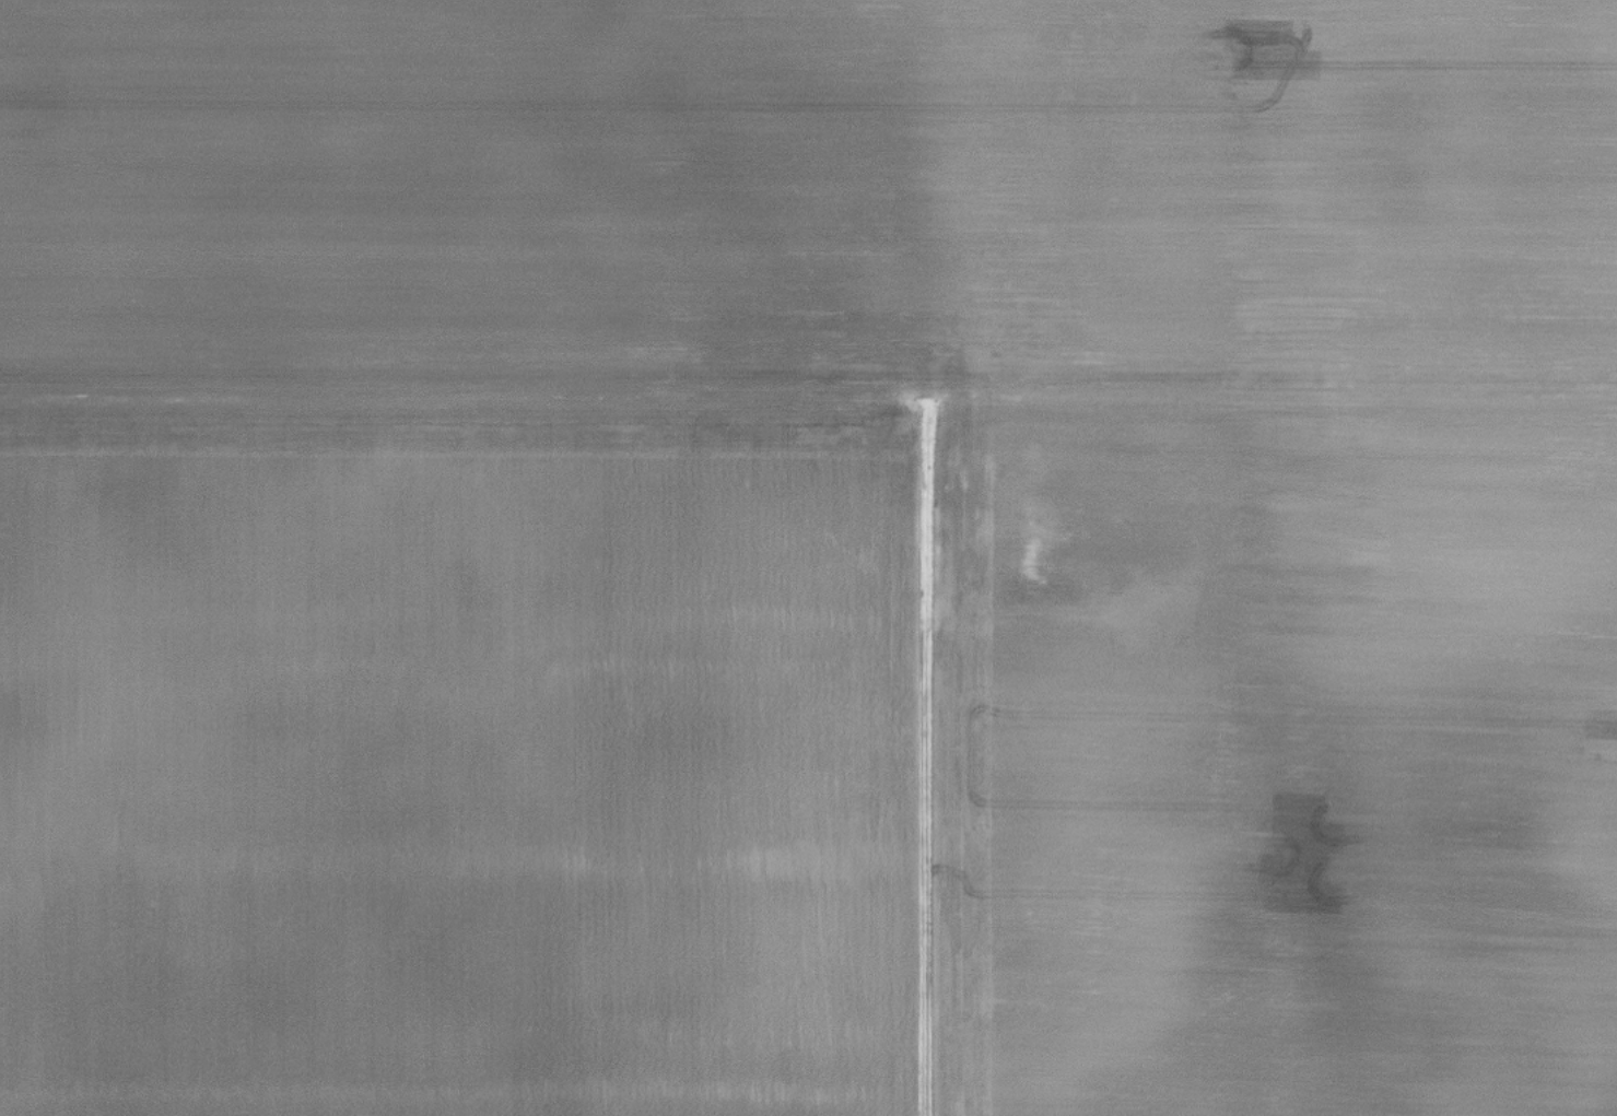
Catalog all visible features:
road: (915, 772)

